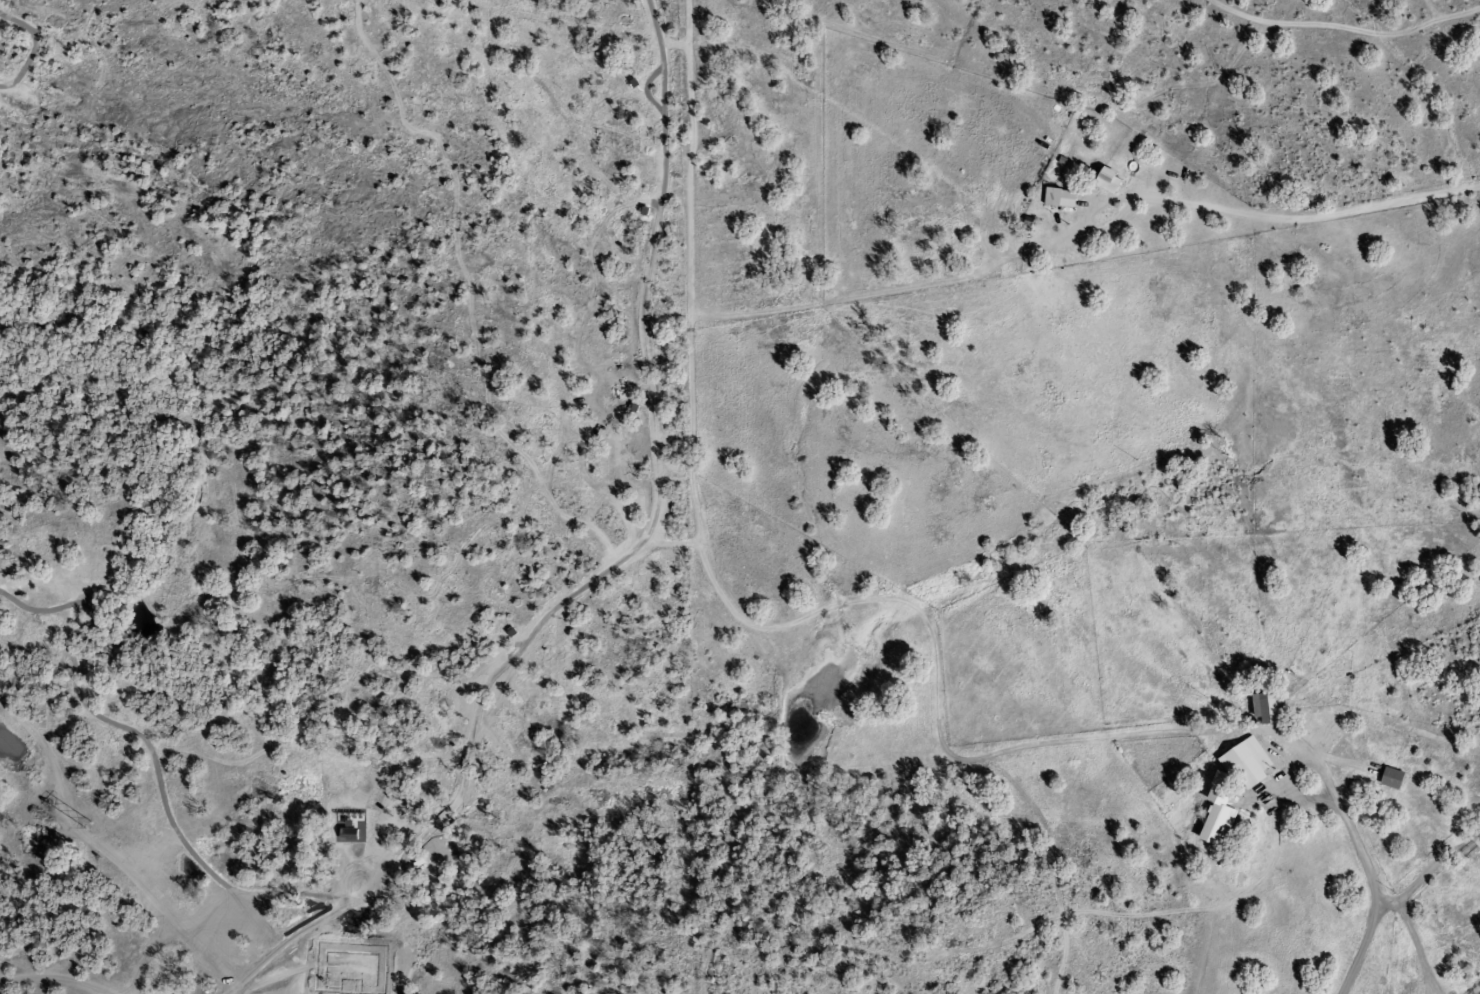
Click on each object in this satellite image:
building: (1102, 180)
building: (1055, 198)
road: (1305, 220)
building: (1261, 709)
building: (1242, 763)
building: (1386, 779)
building: (1213, 813)
power tower: (87, 824)
building: (1467, 851)

